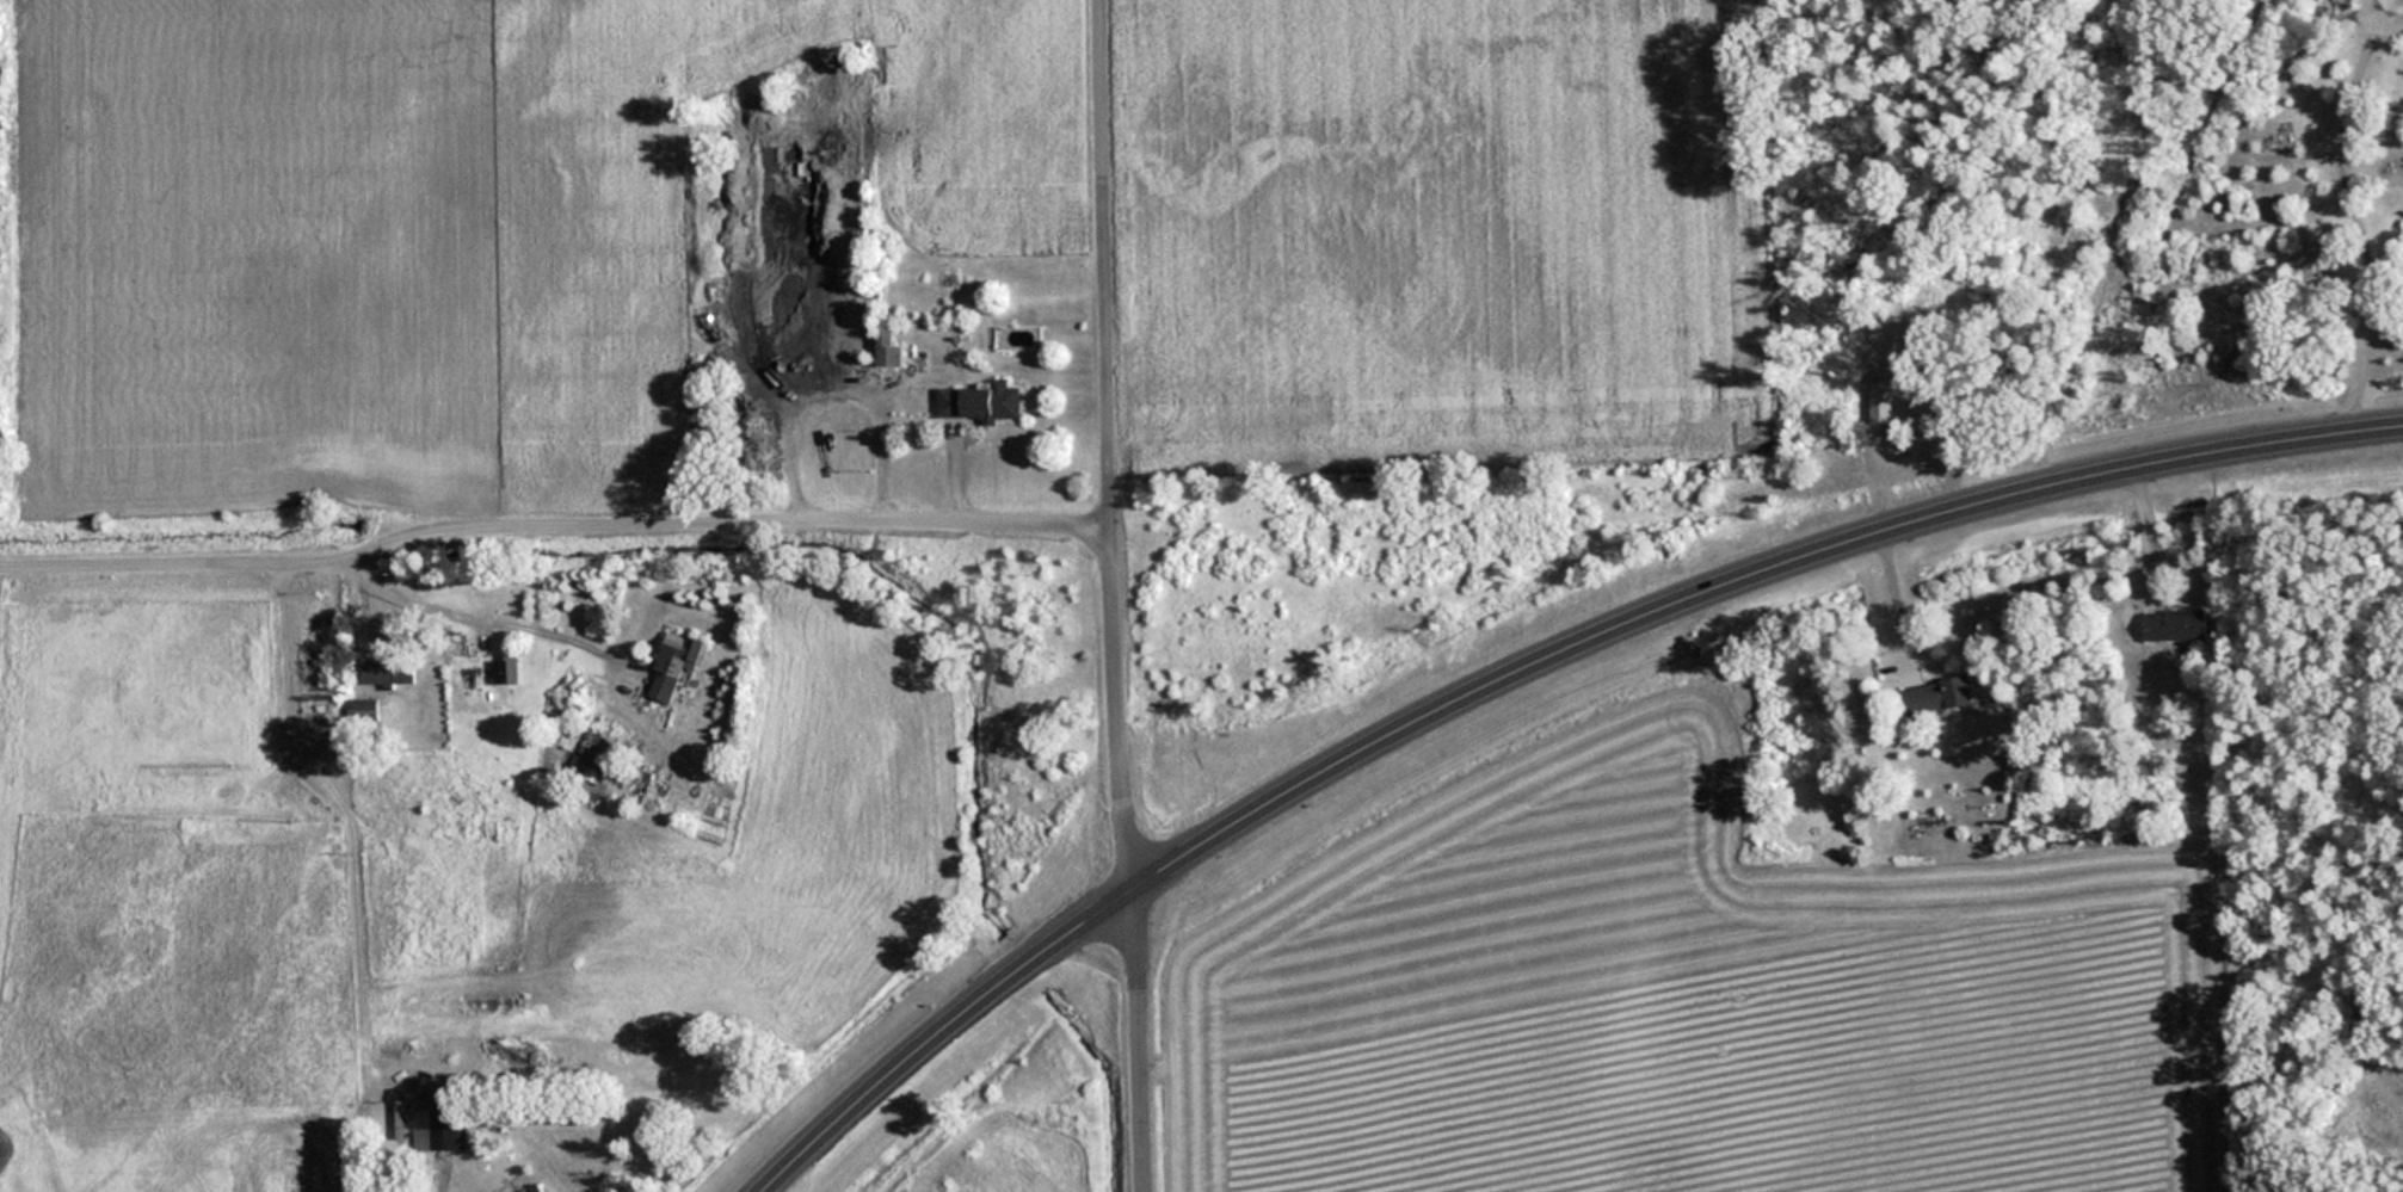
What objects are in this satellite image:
road: (2356, 220)
building: (785, 246)
building: (894, 356)
building: (819, 372)
building: (984, 401)
building: (760, 439)
road: (550, 524)
road: (1110, 595)
building: (2177, 623)
building: (676, 663)
road: (1516, 666)
building: (390, 671)
building: (509, 671)
building: (1940, 694)
building: (596, 751)
building: (433, 1129)

